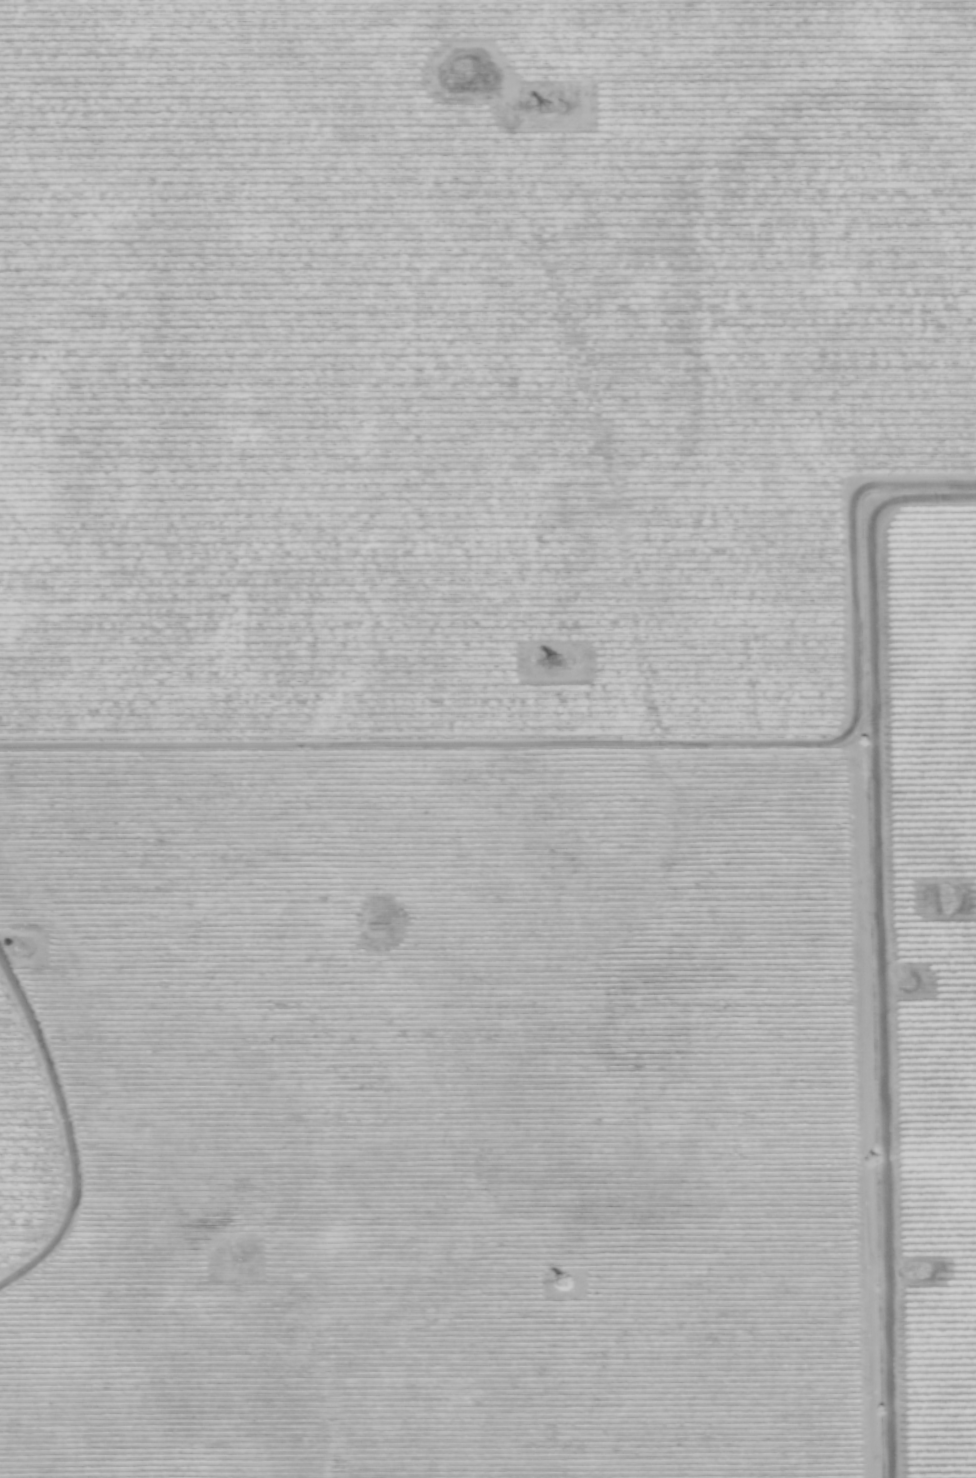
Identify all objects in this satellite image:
power tower: (549, 111)
crop: (852, 195)
power tower: (557, 660)
power tower: (566, 1282)

